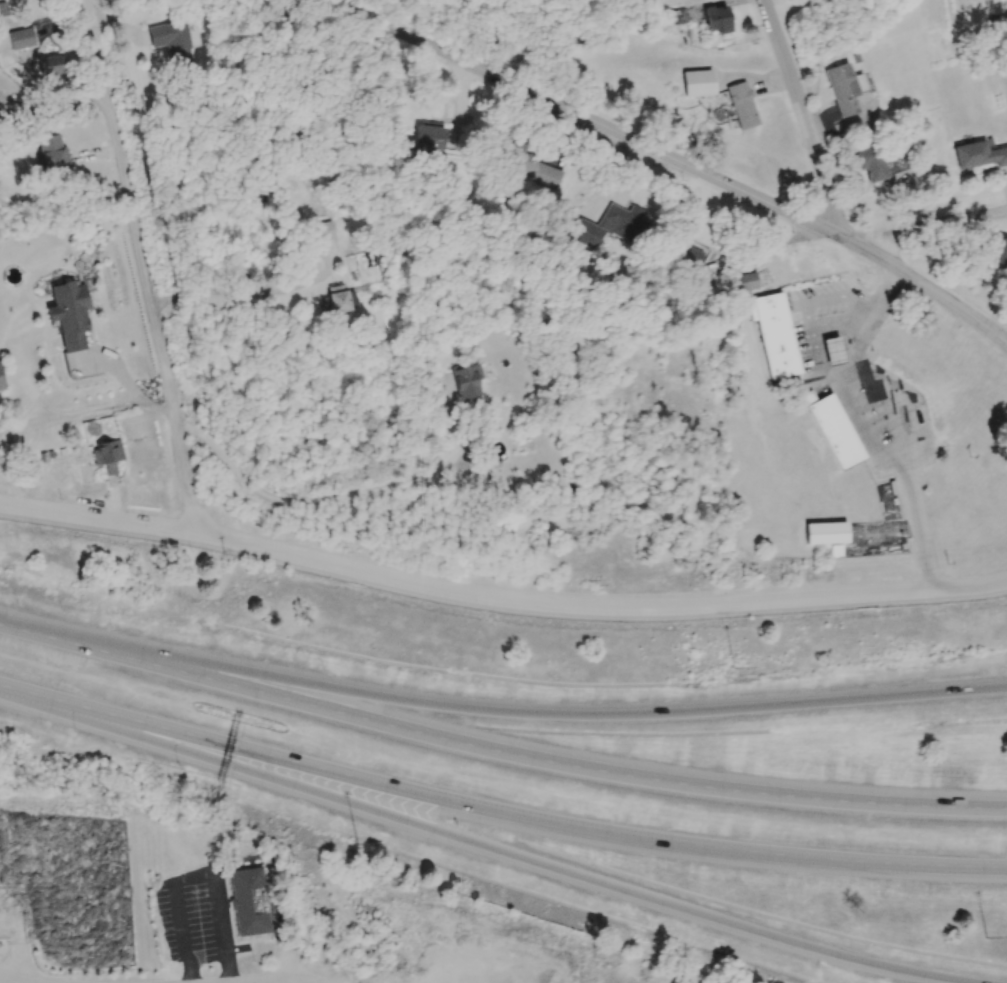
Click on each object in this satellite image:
building: (678, 16)
building: (716, 18)
building: (21, 38)
building: (172, 43)
building: (50, 65)
building: (697, 83)
building: (842, 89)
building: (741, 105)
road: (809, 119)
building: (429, 138)
building: (52, 153)
building: (978, 154)
road: (679, 159)
building: (870, 162)
building: (535, 167)
road: (929, 223)
building: (612, 225)
building: (323, 231)
road: (767, 248)
building: (1004, 250)
building: (686, 254)
road: (144, 264)
building: (743, 282)
road: (233, 291)
building: (336, 298)
building: (69, 314)
building: (778, 337)
building: (837, 353)
building: (2, 378)
building: (466, 383)
road: (893, 423)
building: (838, 434)
building: (107, 455)
road: (324, 497)
building: (825, 533)
road: (499, 597)
street lamp: (17, 607)
street lamp: (108, 627)
street lamp: (216, 648)
street lamp: (732, 668)
street lamp: (323, 669)
road: (515, 711)
street lamp: (73, 732)
road: (497, 751)
street lamp: (178, 764)
road: (497, 809)
street lamp: (356, 844)
road: (484, 845)
road: (197, 874)
road: (55, 885)
building: (248, 902)
road: (13, 908)
street lamp: (984, 938)
road: (15, 979)
road: (279, 982)

